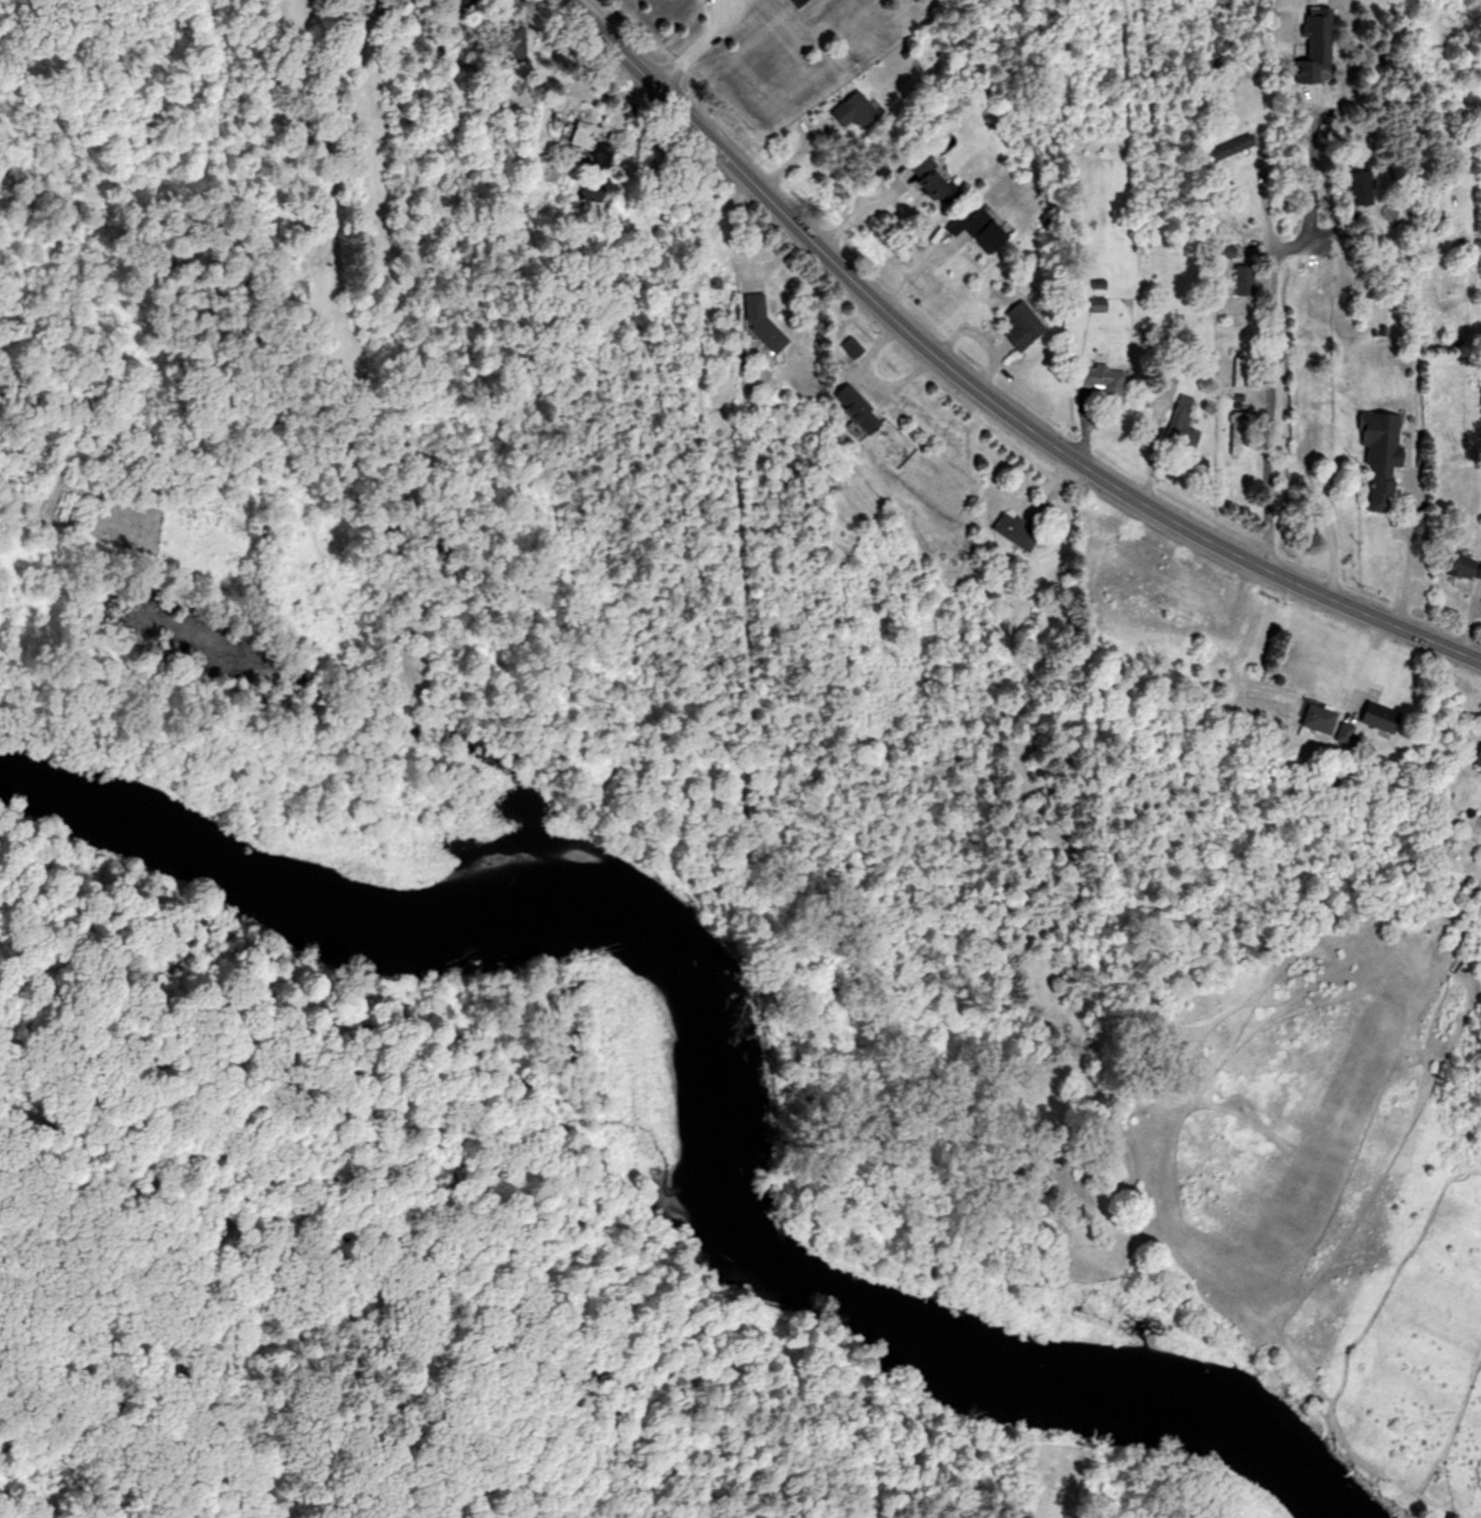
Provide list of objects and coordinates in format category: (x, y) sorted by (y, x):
building: (857, 112)
building: (595, 145)
building: (1229, 149)
building: (935, 182)
building: (1361, 185)
building: (591, 191)
road: (857, 207)
building: (983, 230)
road: (1320, 247)
road: (915, 265)
building: (1246, 281)
building: (1024, 327)
building: (855, 348)
building: (1102, 381)
road: (981, 389)
building: (862, 410)
building: (1184, 423)
building: (1238, 433)
road: (1148, 444)
building: (1383, 457)
building: (1027, 527)
road: (1409, 538)
building: (1465, 566)
building: (1382, 716)
building: (1322, 718)
building: (1478, 761)
river: (684, 1077)

